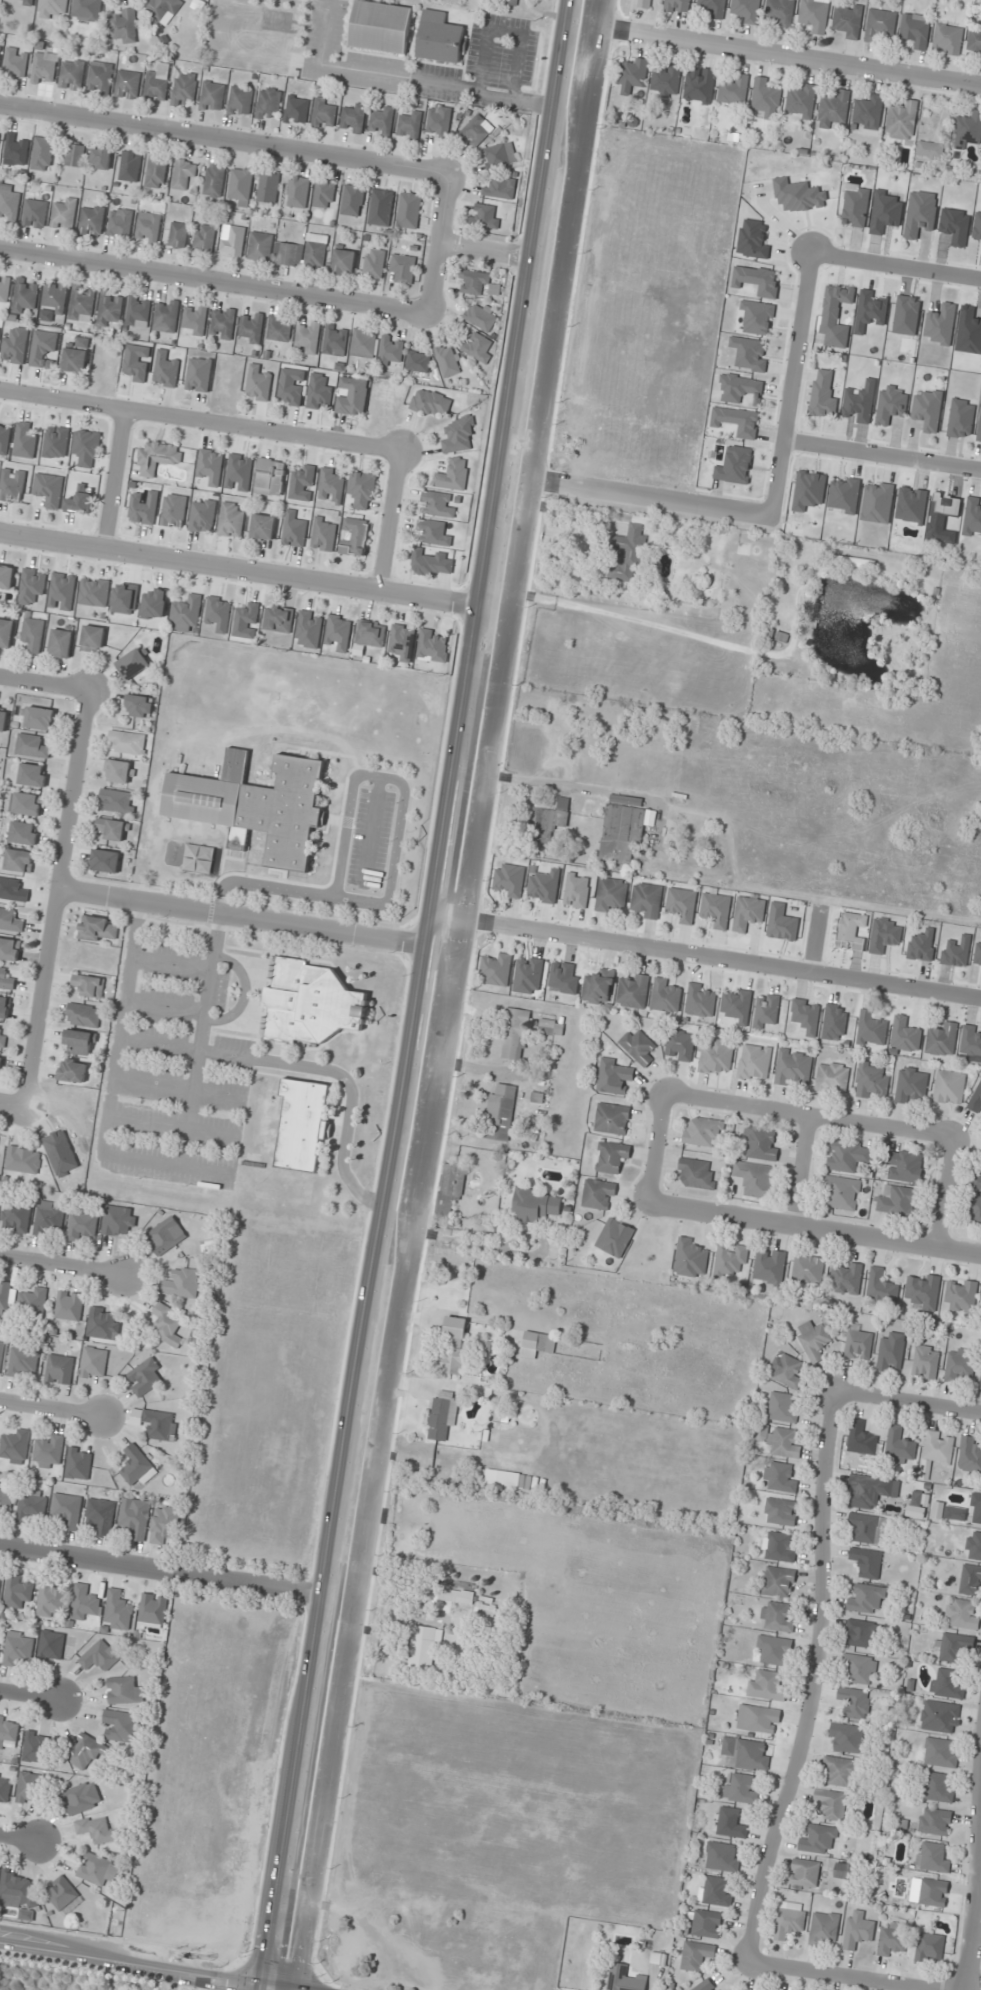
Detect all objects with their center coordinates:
building: (22, 1)
building: (512, 2)
building: (642, 3)
building: (678, 6)
building: (163, 7)
building: (714, 7)
building: (52, 8)
building: (87, 10)
building: (747, 10)
building: (782, 12)
building: (815, 15)
building: (848, 20)
building: (880, 25)
building: (123, 27)
building: (380, 27)
building: (915, 31)
building: (440, 38)
building: (948, 39)
building: (975, 40)
building: (0, 51)
road: (781, 55)
building: (16, 63)
building: (45, 67)
building: (72, 74)
building: (633, 76)
building: (100, 77)
building: (667, 81)
building: (157, 83)
building: (127, 84)
building: (699, 85)
building: (184, 88)
building: (734, 91)
building: (212, 96)
building: (765, 99)
building: (240, 101)
building: (801, 101)
building: (268, 103)
building: (296, 110)
building: (833, 110)
building: (323, 113)
building: (868, 113)
building: (354, 117)
building: (382, 121)
building: (439, 121)
building: (903, 121)
building: (409, 125)
building: (476, 131)
building: (967, 131)
road: (223, 139)
building: (15, 150)
building: (930, 150)
building: (43, 154)
building: (75, 155)
building: (500, 156)
building: (101, 157)
building: (130, 166)
building: (156, 171)
building: (184, 175)
building: (214, 180)
building: (240, 186)
building: (268, 188)
building: (502, 188)
building: (298, 193)
building: (323, 196)
building: (352, 200)
building: (8, 202)
building: (380, 208)
building: (409, 211)
building: (35, 214)
building: (64, 215)
building: (485, 216)
building: (91, 221)
building: (120, 223)
building: (148, 228)
building: (178, 235)
building: (204, 239)
building: (232, 241)
road: (436, 243)
building: (260, 246)
road: (492, 250)
building: (288, 254)
building: (315, 254)
building: (344, 262)
building: (374, 264)
road: (895, 267)
building: (402, 269)
road: (213, 280)
building: (473, 283)
building: (4, 289)
building: (24, 296)
building: (54, 297)
building: (81, 304)
building: (109, 308)
building: (138, 312)
building: (166, 316)
building: (480, 318)
building: (194, 320)
building: (222, 324)
building: (252, 327)
building: (279, 329)
building: (307, 338)
building: (334, 341)
building: (363, 344)
building: (478, 347)
building: (391, 351)
building: (75, 360)
building: (447, 361)
building: (417, 364)
building: (165, 371)
building: (198, 375)
building: (258, 384)
road: (790, 385)
building: (291, 387)
building: (320, 391)
building: (823, 395)
building: (352, 397)
building: (431, 403)
building: (859, 403)
road: (200, 419)
building: (459, 435)
building: (4, 438)
building: (25, 440)
building: (87, 448)
road: (881, 452)
building: (157, 458)
building: (210, 466)
building: (239, 472)
building: (453, 475)
building: (270, 477)
road: (114, 478)
building: (302, 484)
building: (12, 485)
building: (330, 485)
building: (362, 489)
building: (48, 490)
road: (642, 494)
building: (80, 502)
building: (436, 504)
building: (143, 507)
building: (173, 511)
building: (202, 515)
road: (389, 518)
building: (231, 520)
building: (262, 528)
building: (293, 530)
building: (433, 533)
building: (324, 534)
building: (356, 537)
building: (628, 554)
building: (749, 562)
building: (432, 563)
building: (854, 565)
road: (246, 568)
building: (6, 577)
building: (93, 592)
building: (154, 603)
building: (218, 612)
building: (186, 614)
building: (278, 619)
building: (247, 620)
building: (339, 632)
building: (6, 633)
building: (33, 633)
building: (370, 633)
building: (92, 638)
building: (61, 642)
building: (402, 642)
building: (433, 646)
building: (133, 664)
road: (44, 683)
building: (139, 706)
building: (38, 718)
building: (3, 720)
building: (128, 742)
building: (31, 746)
building: (119, 771)
building: (32, 775)
building: (117, 801)
building: (26, 804)
building: (255, 806)
building: (548, 823)
building: (112, 829)
building: (23, 833)
building: (621, 833)
building: (19, 860)
building: (105, 861)
building: (509, 879)
building: (12, 890)
building: (610, 894)
road: (57, 900)
building: (647, 900)
building: (682, 904)
building: (716, 910)
building: (748, 912)
road: (251, 919)
building: (9, 920)
building: (782, 923)
building: (98, 929)
building: (851, 930)
building: (884, 935)
road: (816, 939)
building: (9, 949)
road: (714, 957)
building: (495, 970)
building: (5, 979)
building: (89, 985)
building: (598, 986)
building: (633, 991)
road: (435, 995)
building: (665, 996)
building: (700, 1000)
building: (312, 1003)
building: (4, 1007)
building: (766, 1011)
building: (83, 1015)
building: (551, 1027)
building: (871, 1029)
building: (515, 1034)
building: (905, 1035)
building: (2, 1038)
building: (942, 1040)
building: (81, 1042)
building: (680, 1045)
building: (639, 1047)
building: (715, 1057)
building: (754, 1063)
building: (0, 1064)
building: (793, 1067)
building: (72, 1071)
building: (614, 1077)
building: (832, 1078)
building: (871, 1081)
building: (911, 1085)
building: (949, 1088)
building: (976, 1099)
road: (12, 1107)
building: (500, 1112)
road: (810, 1118)
building: (612, 1119)
building: (302, 1125)
building: (703, 1131)
building: (760, 1144)
road: (659, 1149)
building: (848, 1155)
building: (612, 1157)
building: (23, 1159)
building: (904, 1166)
building: (697, 1173)
road: (804, 1173)
building: (755, 1179)
building: (977, 1181)
building: (448, 1188)
building: (843, 1192)
building: (599, 1194)
road: (947, 1194)
building: (896, 1201)
building: (535, 1204)
building: (975, 1212)
building: (16, 1217)
building: (49, 1218)
building: (119, 1220)
building: (82, 1225)
road: (815, 1230)
building: (165, 1235)
building: (614, 1238)
building: (690, 1258)
building: (730, 1259)
building: (769, 1266)
road: (65, 1267)
building: (808, 1269)
building: (846, 1278)
building: (182, 1283)
building: (881, 1288)
building: (923, 1291)
building: (961, 1295)
building: (6, 1297)
building: (33, 1300)
building: (69, 1305)
building: (103, 1323)
building: (166, 1325)
building: (814, 1340)
building: (859, 1343)
building: (537, 1344)
building: (454, 1347)
building: (1, 1350)
building: (891, 1352)
building: (22, 1362)
building: (926, 1362)
building: (94, 1363)
building: (960, 1364)
building: (59, 1369)
building: (787, 1370)
building: (144, 1377)
building: (980, 1385)
road: (909, 1405)
building: (781, 1408)
road: (53, 1409)
building: (443, 1416)
building: (160, 1424)
building: (491, 1436)
building: (861, 1439)
building: (779, 1441)
building: (15, 1446)
building: (899, 1446)
building: (937, 1450)
building: (49, 1451)
building: (970, 1456)
building: (79, 1463)
building: (137, 1466)
building: (503, 1478)
building: (780, 1478)
building: (527, 1482)
building: (872, 1490)
building: (6, 1498)
building: (31, 1506)
building: (975, 1509)
building: (67, 1510)
building: (781, 1511)
building: (949, 1512)
building: (100, 1515)
building: (135, 1518)
building: (164, 1524)
building: (868, 1528)
building: (974, 1546)
building: (779, 1547)
building: (867, 1562)
road: (172, 1571)
building: (971, 1580)
building: (778, 1582)
building: (17, 1591)
building: (457, 1596)
building: (866, 1598)
building: (51, 1599)
building: (85, 1603)
building: (487, 1606)
building: (153, 1609)
building: (118, 1610)
building: (962, 1614)
building: (777, 1617)
building: (0, 1630)
building: (860, 1633)
building: (51, 1645)
building: (426, 1647)
building: (18, 1648)
building: (954, 1648)
building: (770, 1650)
building: (100, 1656)
building: (858, 1667)
road: (817, 1684)
building: (947, 1684)
building: (124, 1690)
road: (32, 1696)
building: (855, 1702)
building: (941, 1716)
building: (758, 1718)
building: (122, 1726)
building: (9, 1733)
building: (847, 1737)
building: (34, 1747)
building: (86, 1750)
building: (941, 1753)
building: (745, 1754)
building: (840, 1770)
building: (30, 1787)
building: (939, 1787)
building: (741, 1788)
building: (5, 1789)
building: (82, 1797)
building: (832, 1804)
building: (935, 1821)
building: (731, 1823)
building: (98, 1830)
road: (19, 1838)
building: (819, 1839)
building: (239, 1851)
building: (723, 1856)
building: (932, 1857)
building: (261, 1858)
building: (97, 1869)
building: (843, 1870)
building: (805, 1873)
building: (18, 1890)
building: (715, 1891)
building: (930, 1892)
building: (63, 1895)
building: (790, 1919)
building: (706, 1924)
road: (975, 1928)
building: (824, 1929)
building: (859, 1929)
building: (893, 1938)
building: (930, 1948)
building: (696, 1955)
road: (140, 1965)
building: (624, 1978)
road: (838, 1978)
building: (705, 1985)
traffic signals: (281, 1989)

